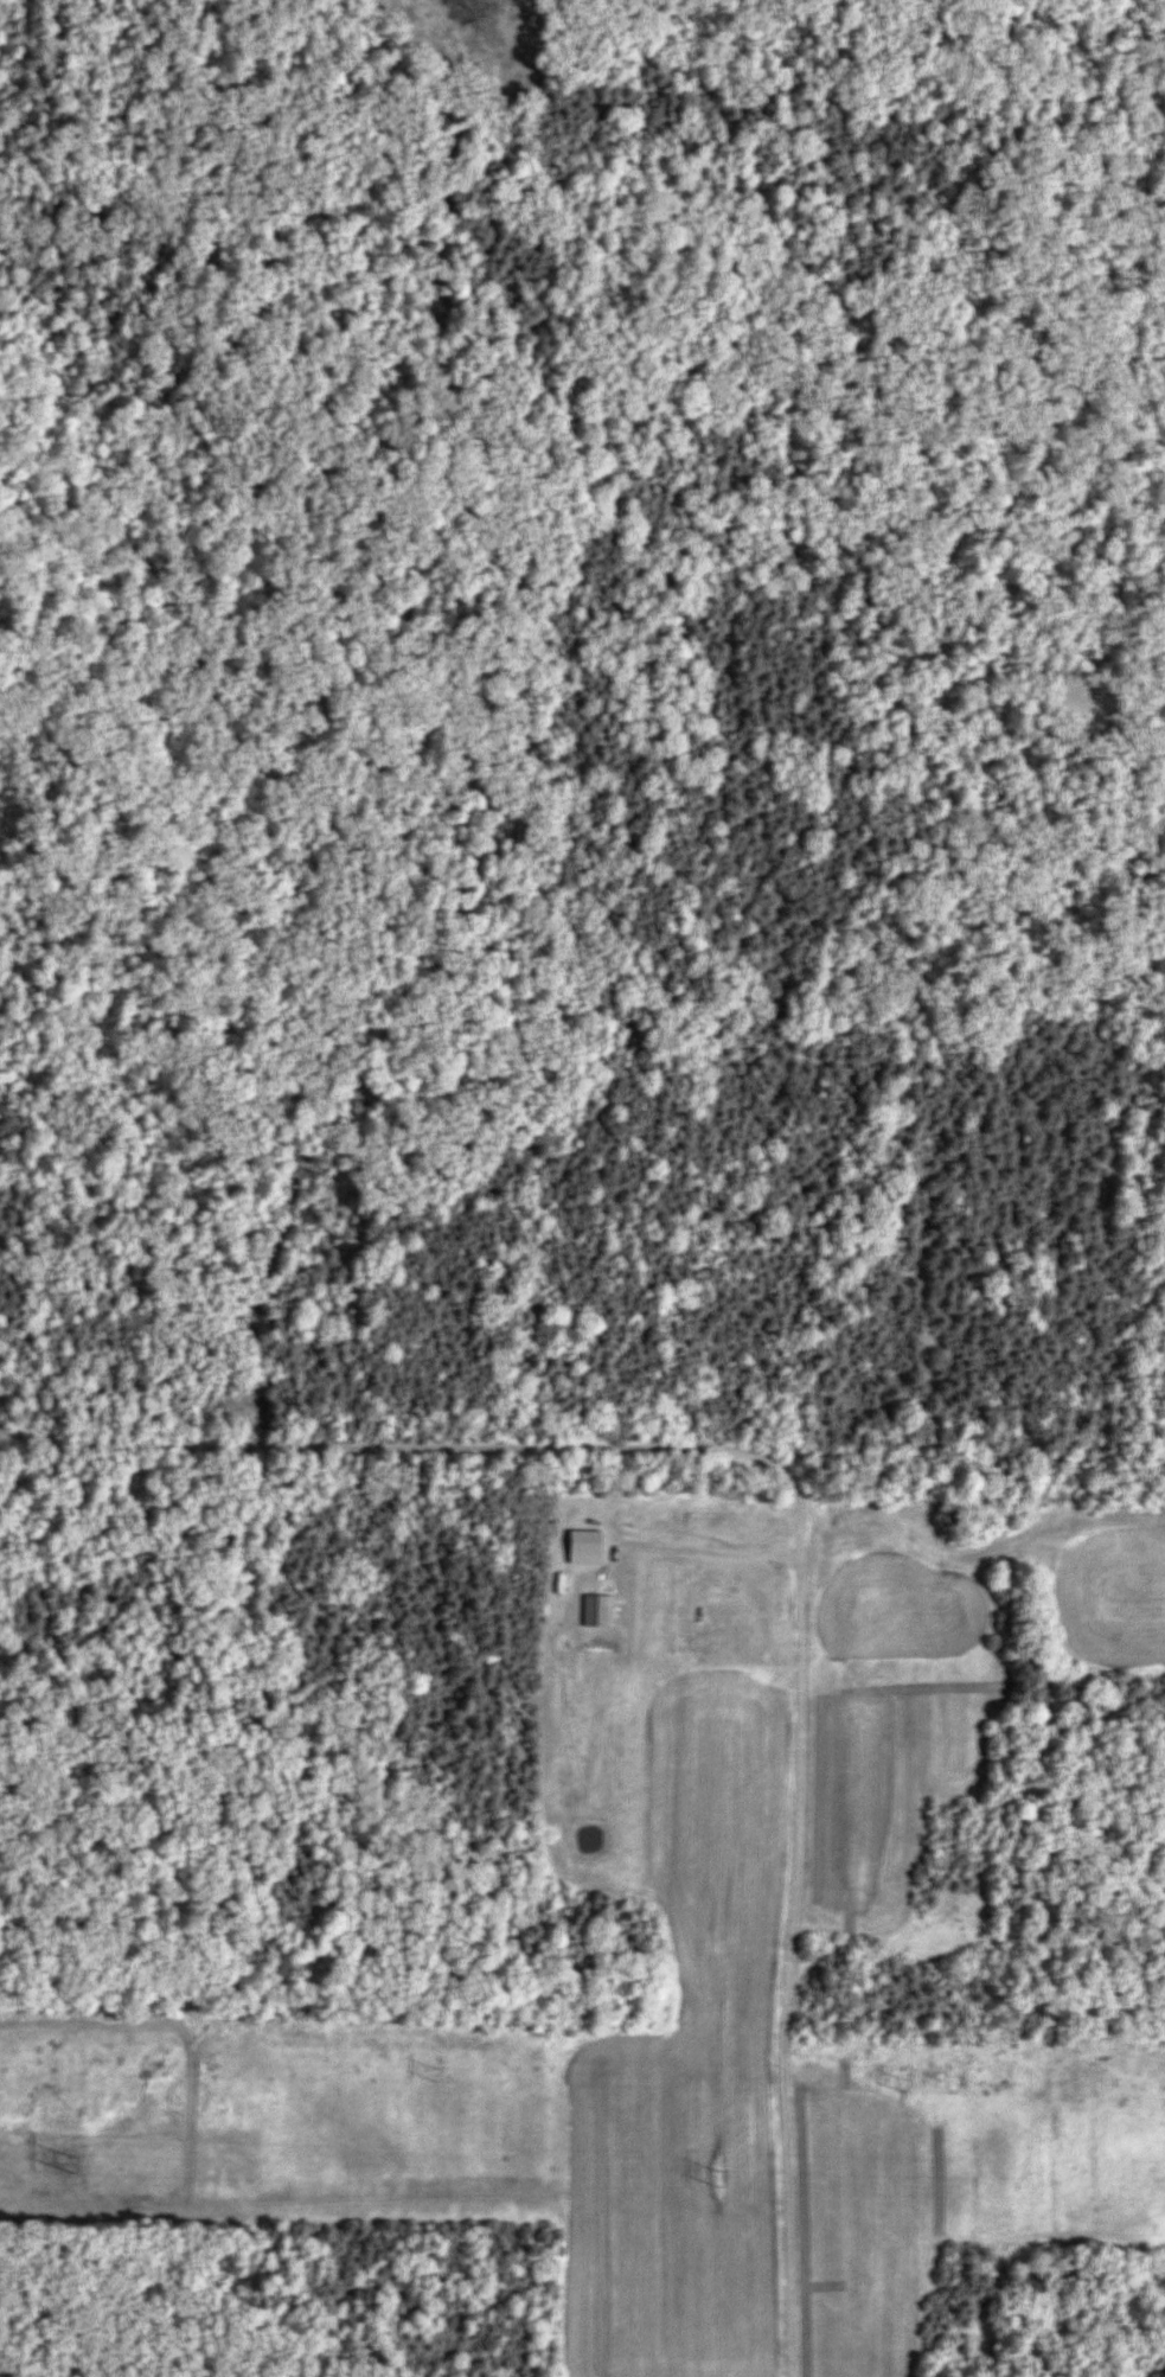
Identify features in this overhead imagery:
power tower: (411, 2079)
power tower: (901, 2084)
power tower: (79, 2165)
power tower: (713, 2178)

